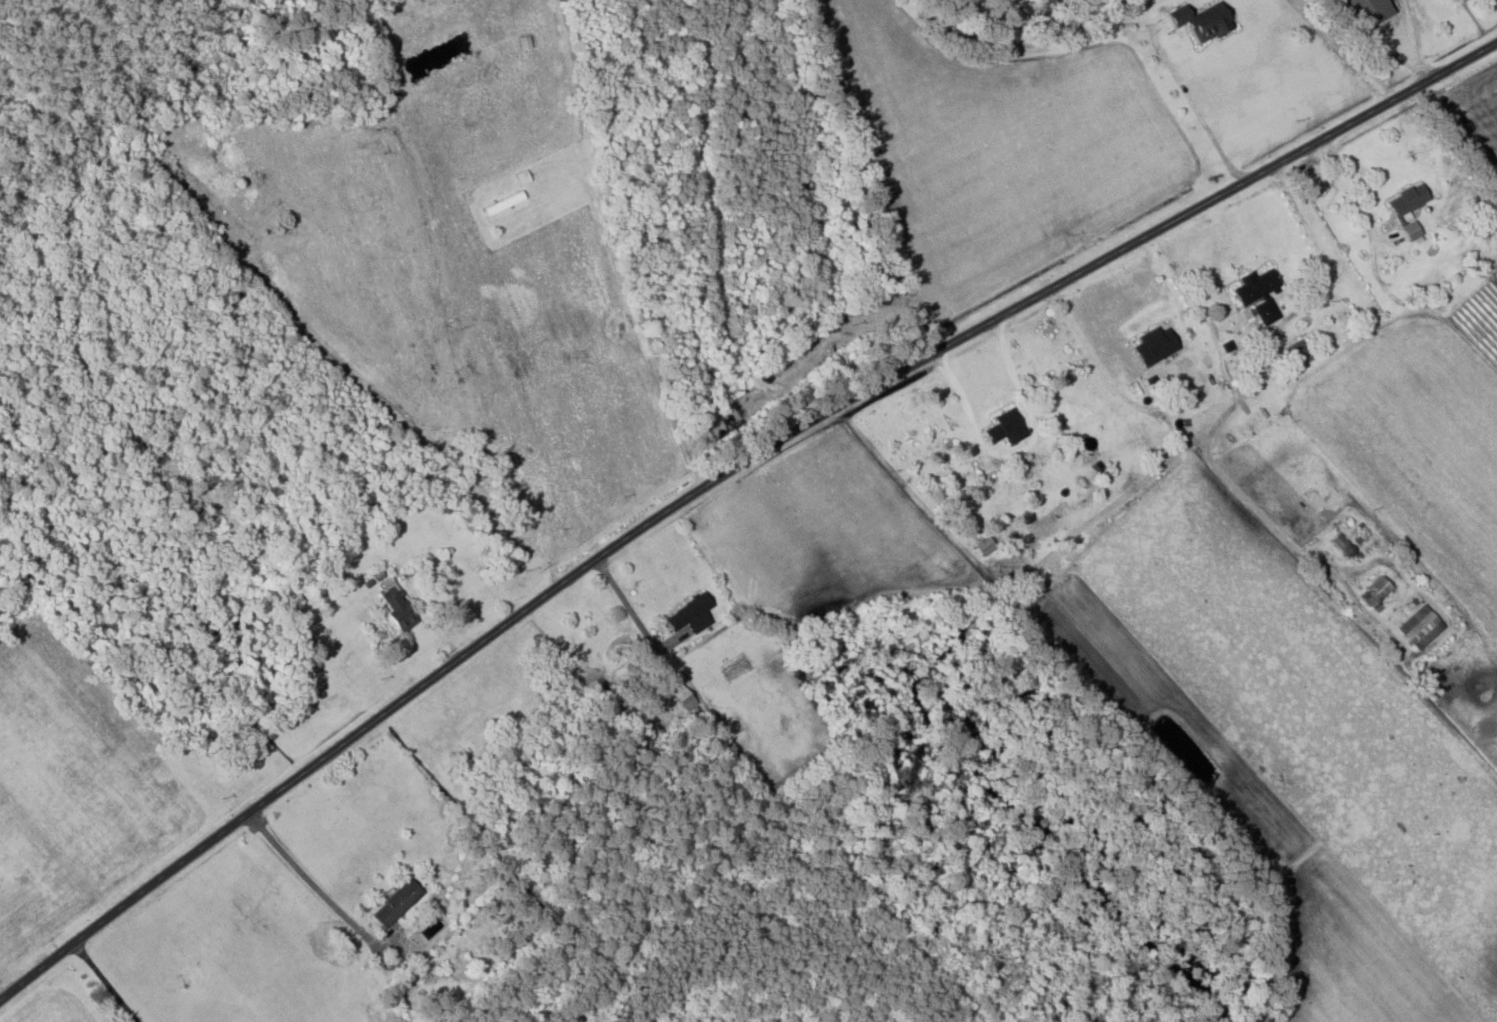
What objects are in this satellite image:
building: (1369, 12)
building: (1204, 22)
building: (525, 43)
building: (1409, 201)
building: (504, 203)
building: (1259, 294)
building: (1299, 353)
building: (1006, 427)
building: (1088, 446)
road: (719, 475)
building: (1341, 541)
building: (1377, 591)
building: (399, 608)
building: (692, 614)
building: (1422, 627)
building: (684, 697)
building: (397, 904)

